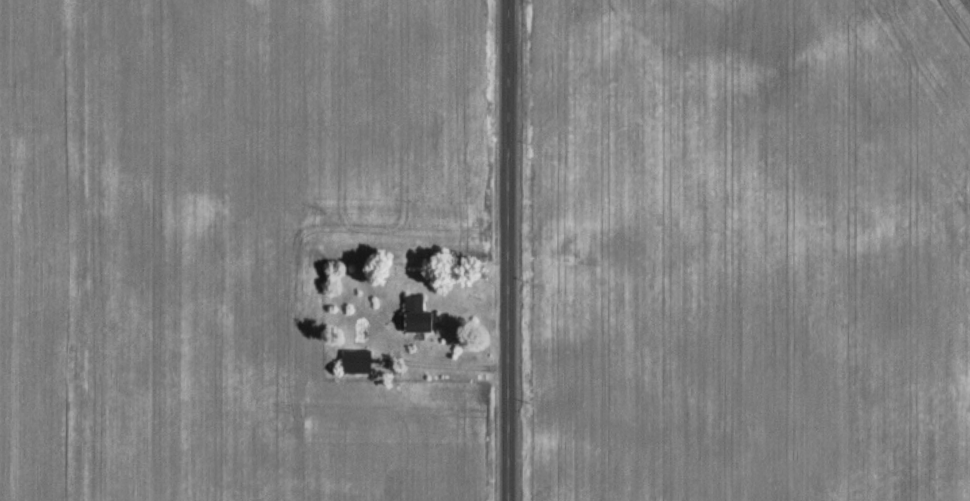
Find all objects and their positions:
road: (511, 250)
building: (413, 313)
building: (355, 360)

